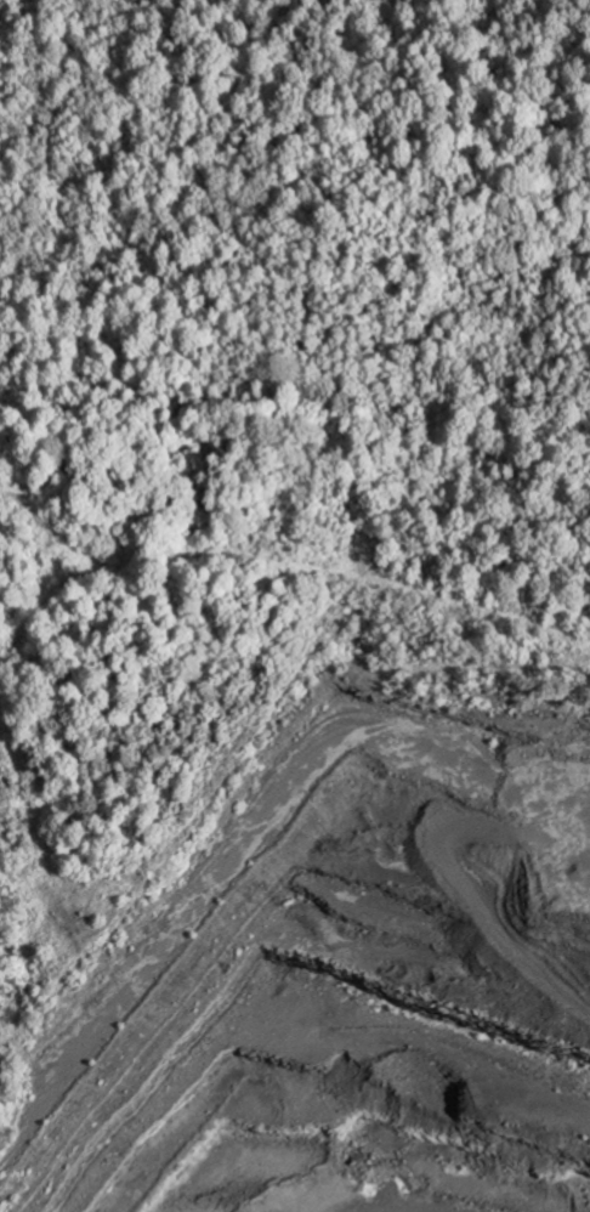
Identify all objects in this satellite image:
road: (280, 556)
quarry: (347, 975)

